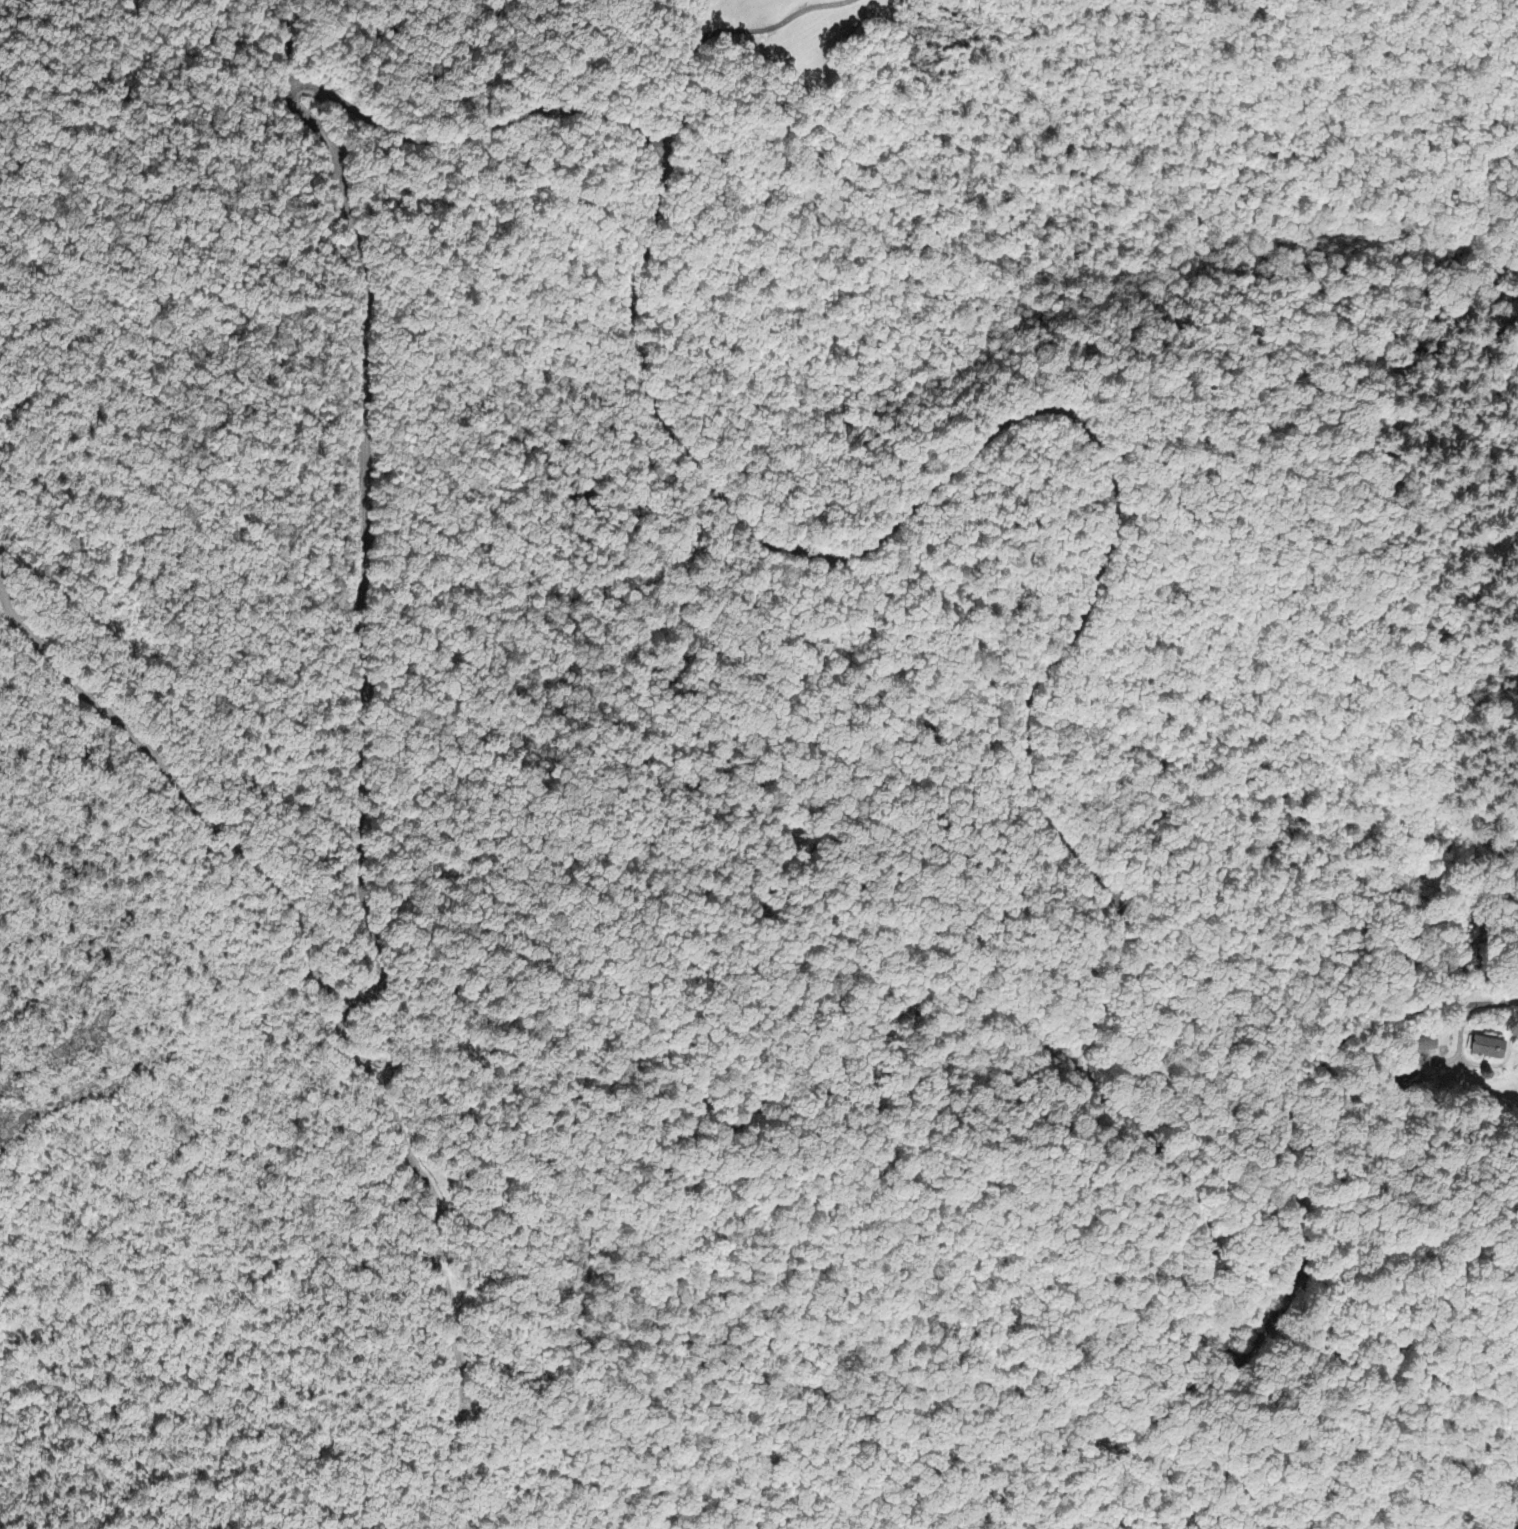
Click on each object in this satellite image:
road: (361, 626)
road: (1020, 714)
building: (1491, 1049)

